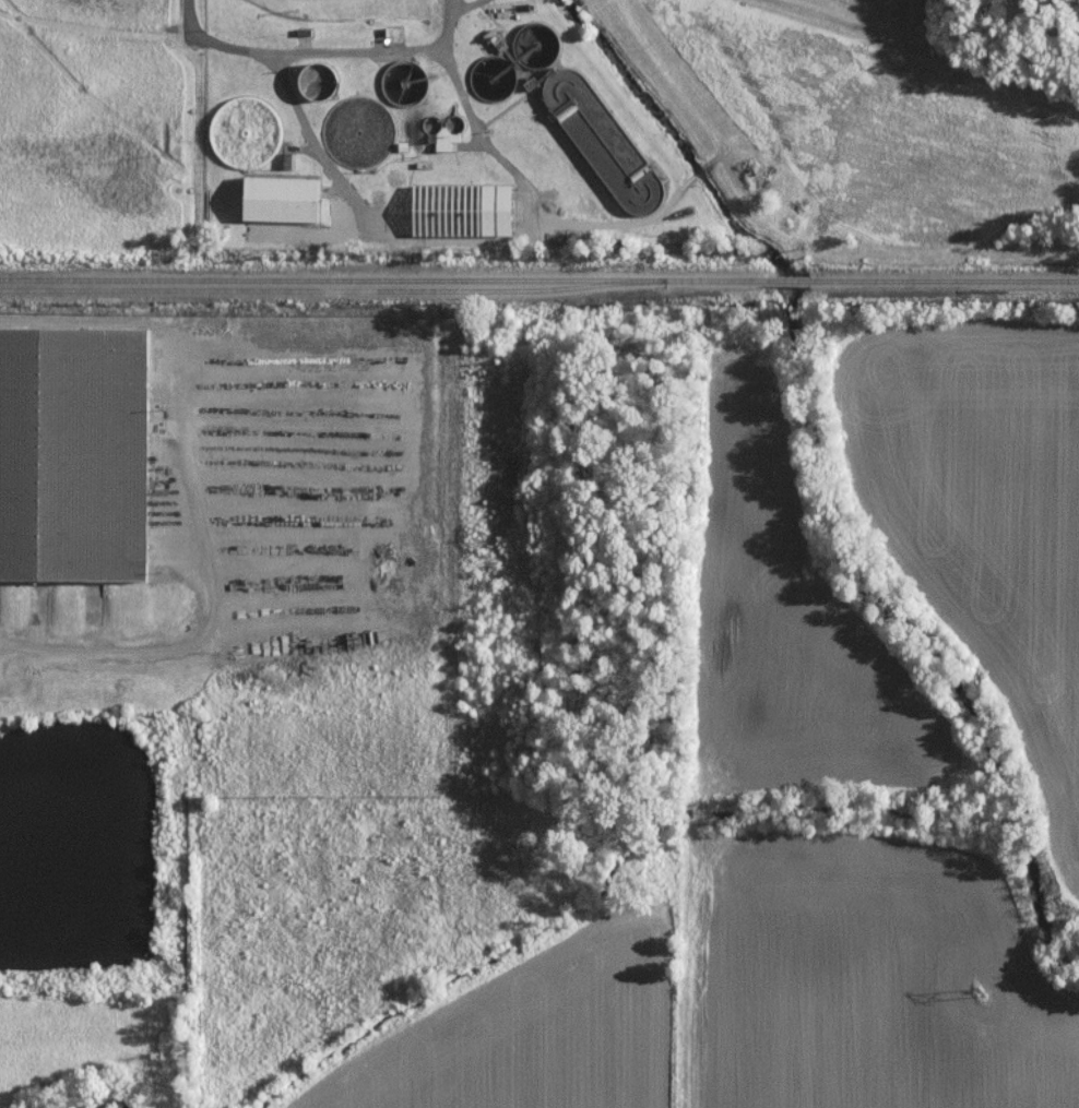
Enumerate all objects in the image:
road: (453, 19)
road: (379, 55)
road: (304, 130)
building: (275, 199)
building: (454, 210)
railway: (380, 281)
railway: (784, 281)
railway: (944, 281)
railway: (343, 295)
building: (73, 456)
road: (102, 651)

